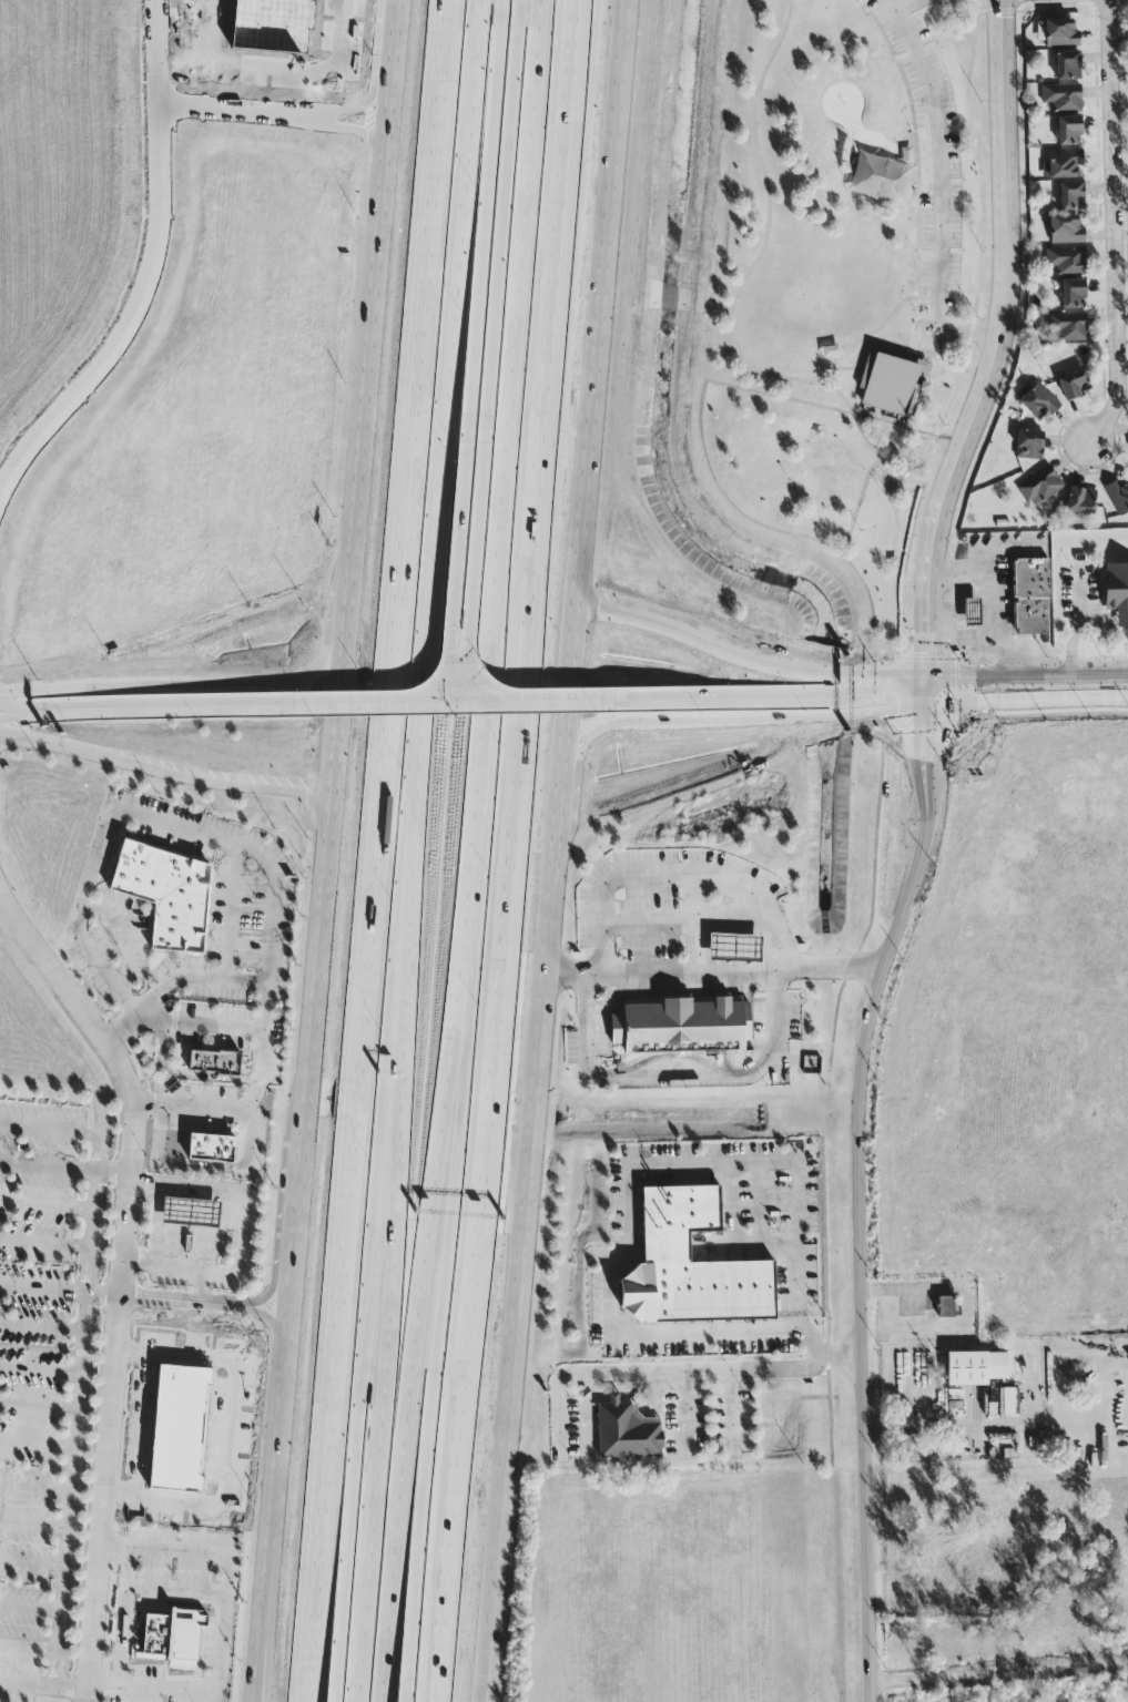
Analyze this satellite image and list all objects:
road: (945, 0)
road: (897, 3)
building: (1059, 33)
road: (476, 59)
building: (1066, 65)
building: (1061, 96)
road: (241, 113)
building: (1067, 131)
road: (929, 150)
road: (937, 150)
road: (489, 154)
road: (507, 154)
building: (1060, 164)
parking lot: (933, 169)
road: (922, 173)
building: (1069, 196)
park: (857, 212)
building: (1065, 228)
road: (1116, 230)
road: (984, 255)
building: (1065, 259)
road: (149, 268)
road: (742, 283)
building: (1071, 294)
road: (891, 317)
road: (967, 326)
building: (1068, 326)
road: (932, 334)
road: (996, 353)
road: (936, 355)
road: (837, 366)
building: (895, 379)
building: (1073, 385)
building: (1037, 402)
road: (884, 430)
road: (916, 431)
building: (1027, 445)
road: (886, 476)
building: (1038, 487)
building: (1118, 497)
road: (463, 498)
road: (482, 498)
building: (1078, 500)
road: (913, 540)
road: (348, 571)
building: (1117, 587)
building: (1033, 593)
road: (956, 604)
road: (988, 605)
gas station: (973, 607)
building: (971, 612)
road: (1102, 620)
road: (1076, 622)
road: (1007, 651)
road: (754, 662)
road: (421, 663)
road: (1120, 675)
road: (1033, 677)
road: (238, 686)
traffic signals: (935, 694)
road: (945, 694)
road: (460, 695)
road: (698, 700)
road: (1041, 703)
road: (17, 707)
road: (246, 709)
road: (17, 716)
road: (699, 718)
road: (175, 774)
road: (146, 823)
road: (374, 850)
road: (497, 850)
road: (558, 850)
road: (471, 852)
road: (681, 873)
building: (160, 896)
road: (232, 915)
road: (689, 920)
parking lot: (688, 921)
gas station: (739, 945)
building: (734, 949)
road: (715, 971)
road: (266, 1017)
building: (673, 1021)
road: (200, 1025)
crop: (1018, 1032)
building: (213, 1063)
road: (681, 1074)
road: (833, 1093)
road: (83, 1138)
building: (210, 1149)
road: (131, 1160)
road: (48, 1170)
road: (630, 1179)
road: (858, 1192)
road: (759, 1205)
road: (47, 1207)
building: (193, 1212)
gas station: (193, 1212)
road: (294, 1226)
road: (369, 1231)
road: (448, 1233)
road: (243, 1235)
road: (44, 1244)
parking lot: (801, 1247)
building: (692, 1265)
road: (201, 1286)
road: (59, 1292)
building: (945, 1307)
road: (196, 1328)
building: (975, 1368)
road: (758, 1369)
road: (581, 1375)
road: (684, 1388)
road: (141, 1423)
road: (947, 1428)
road: (75, 1431)
building: (626, 1431)
road: (228, 1433)
building: (909, 1449)
road: (376, 1456)
road: (273, 1476)
road: (173, 1550)
road: (847, 1580)
road: (176, 1590)
road: (90, 1614)
road: (123, 1618)
road: (339, 1635)
building: (172, 1639)
road: (411, 1639)
road: (256, 1671)
road: (260, 1671)
road: (998, 1676)
road: (41, 1688)

